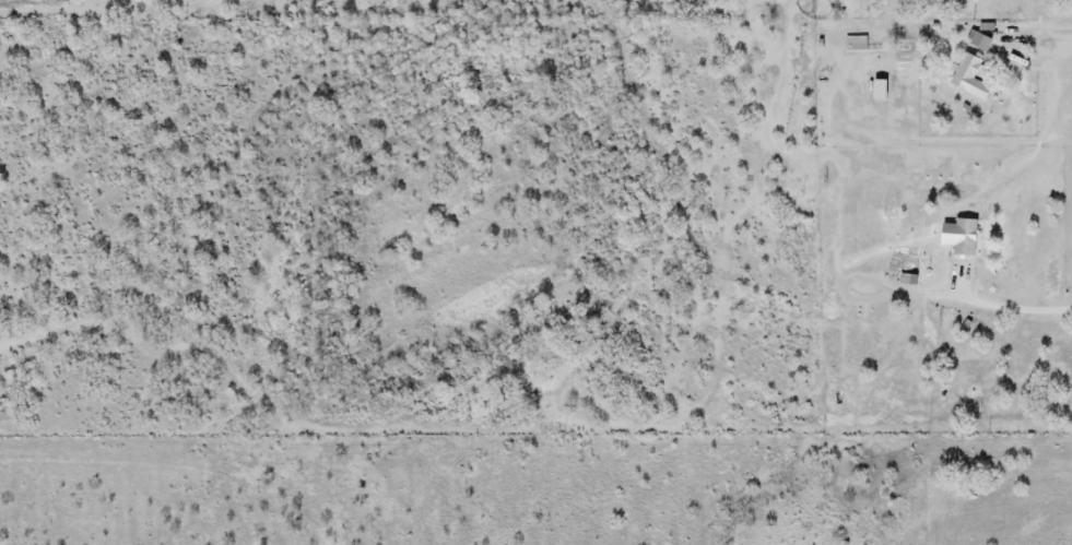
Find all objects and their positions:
road: (1041, 35)
building: (978, 43)
building: (861, 47)
building: (966, 79)
road: (1012, 308)

